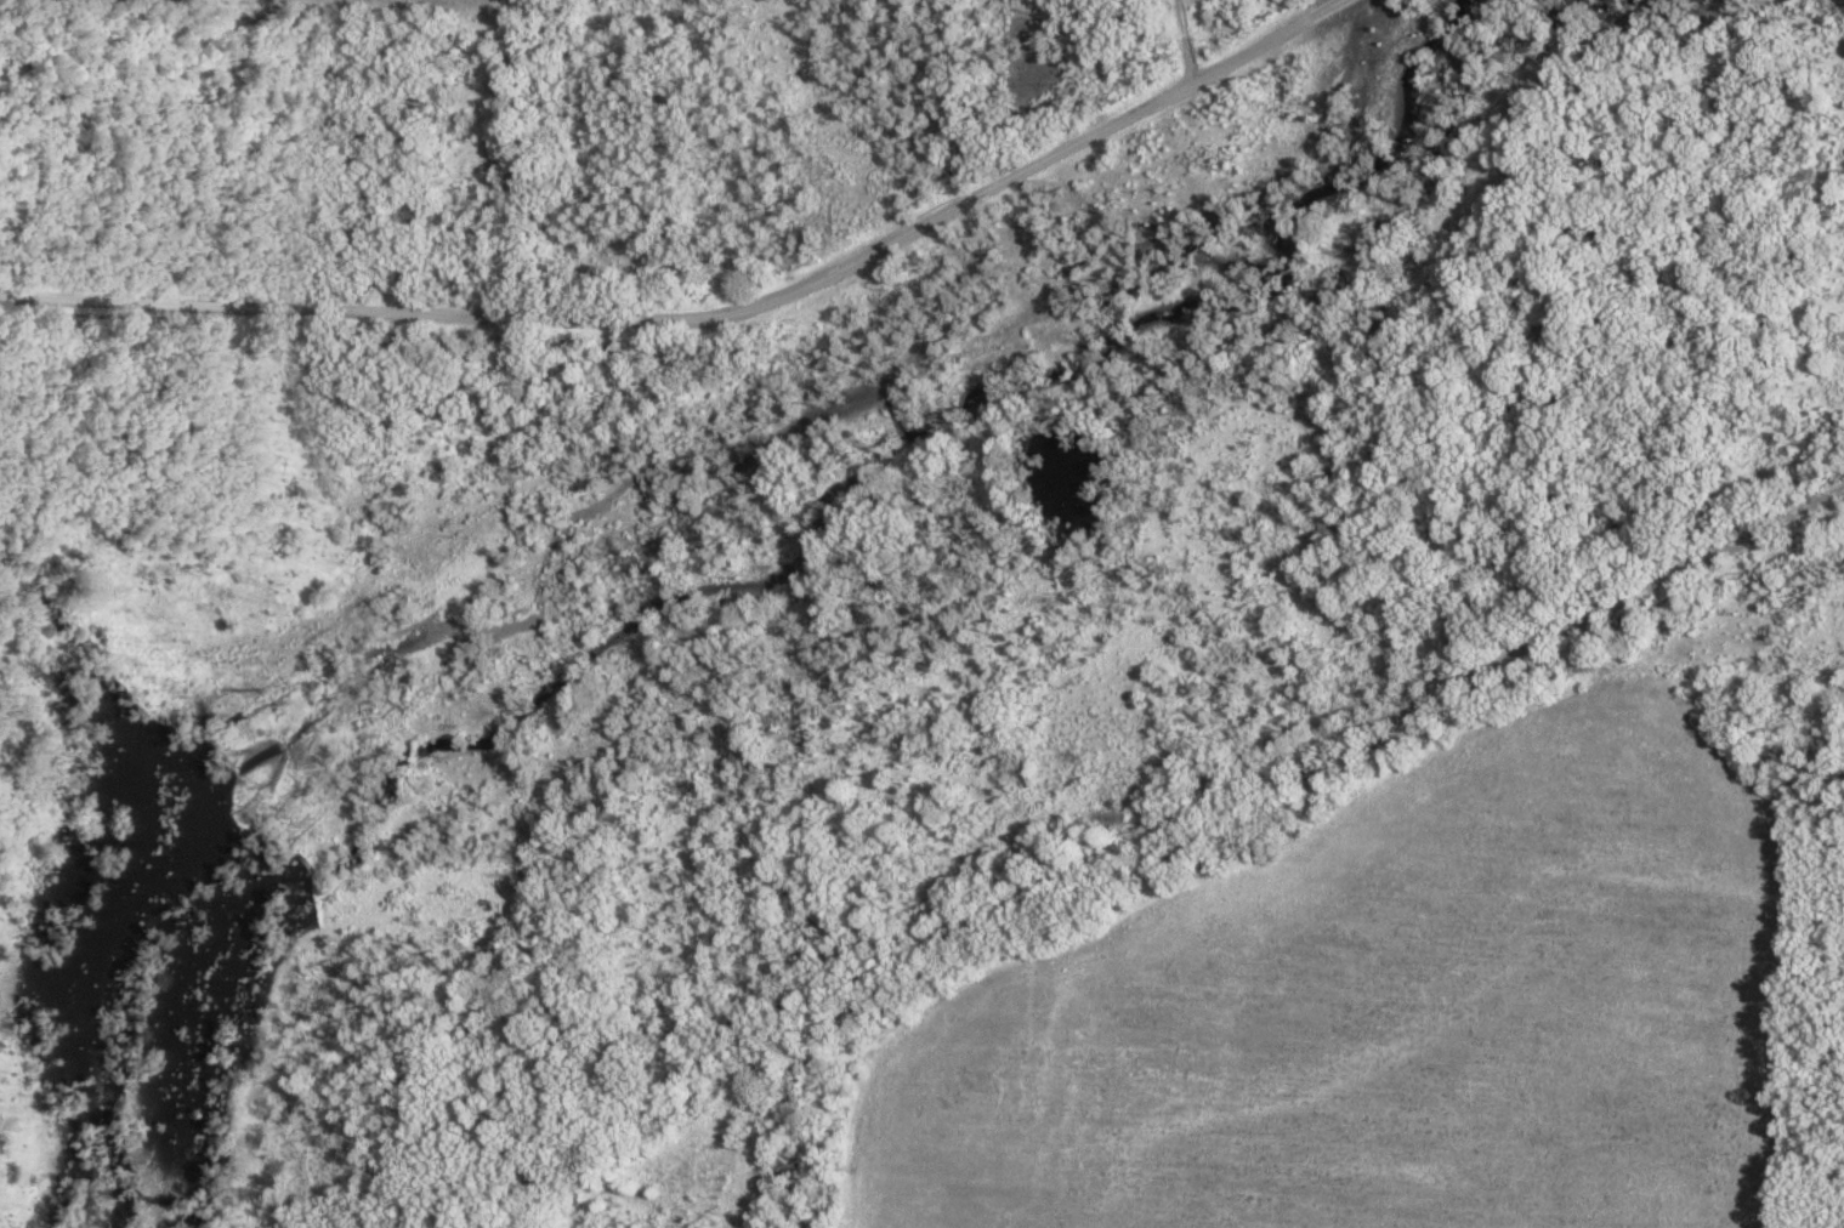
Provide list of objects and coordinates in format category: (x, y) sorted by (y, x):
road: (680, 294)

